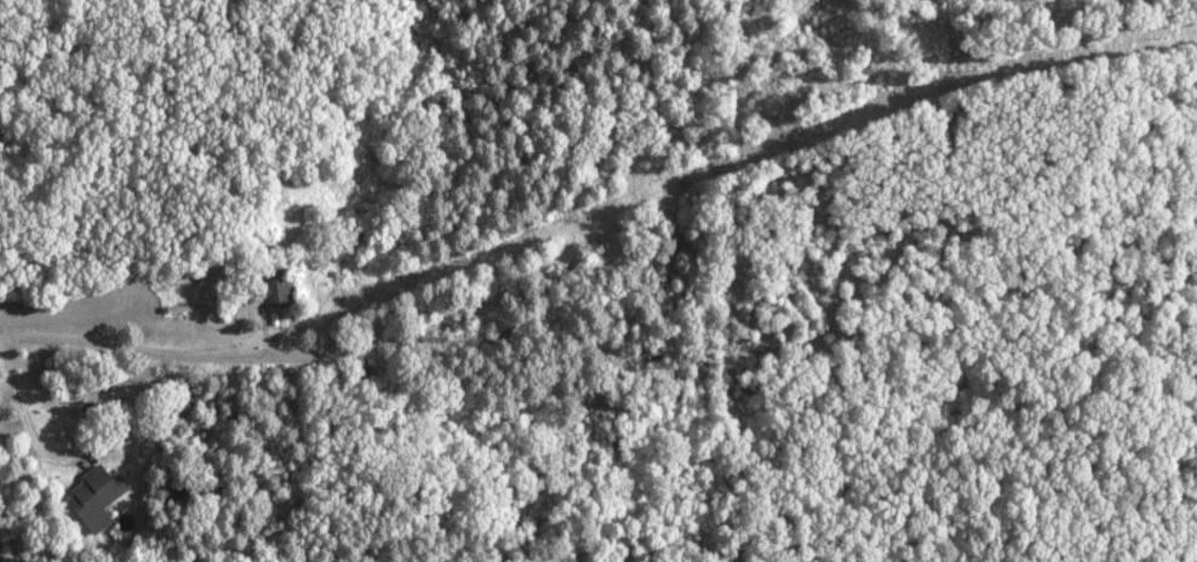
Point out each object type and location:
building: (269, 286)
road: (161, 359)
road: (57, 465)
building: (88, 498)

